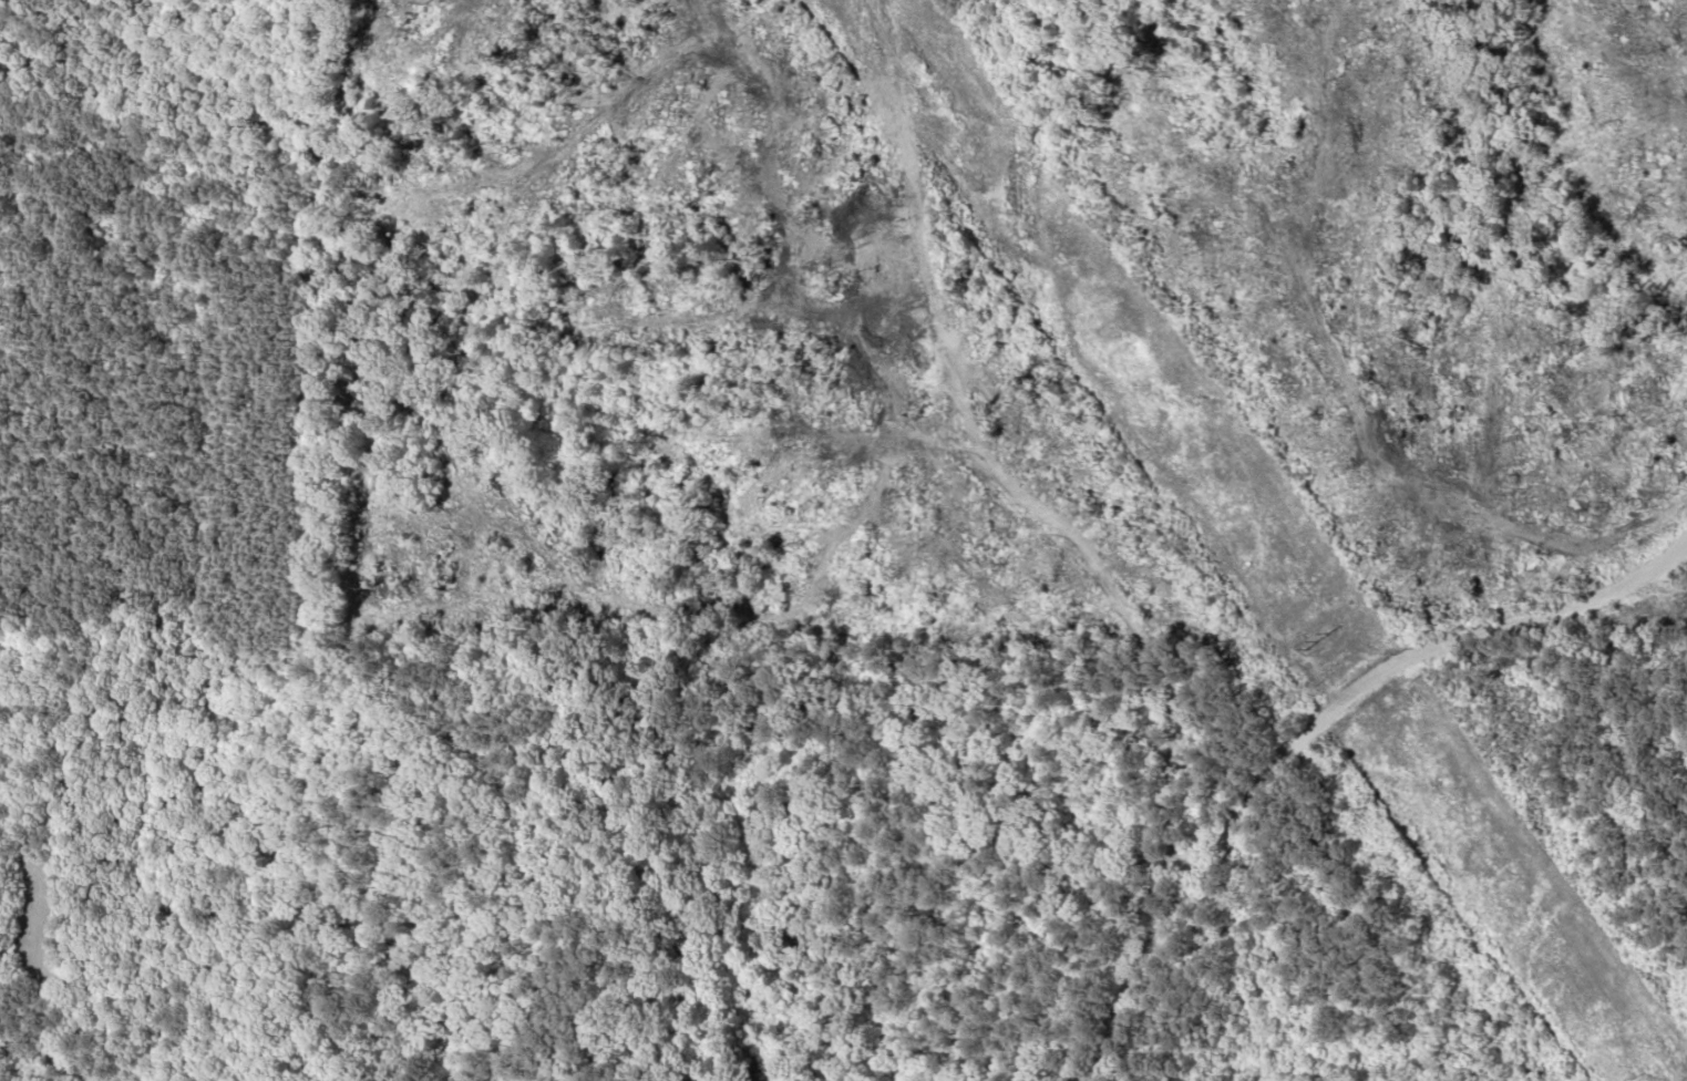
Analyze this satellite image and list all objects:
road: (1349, 760)

